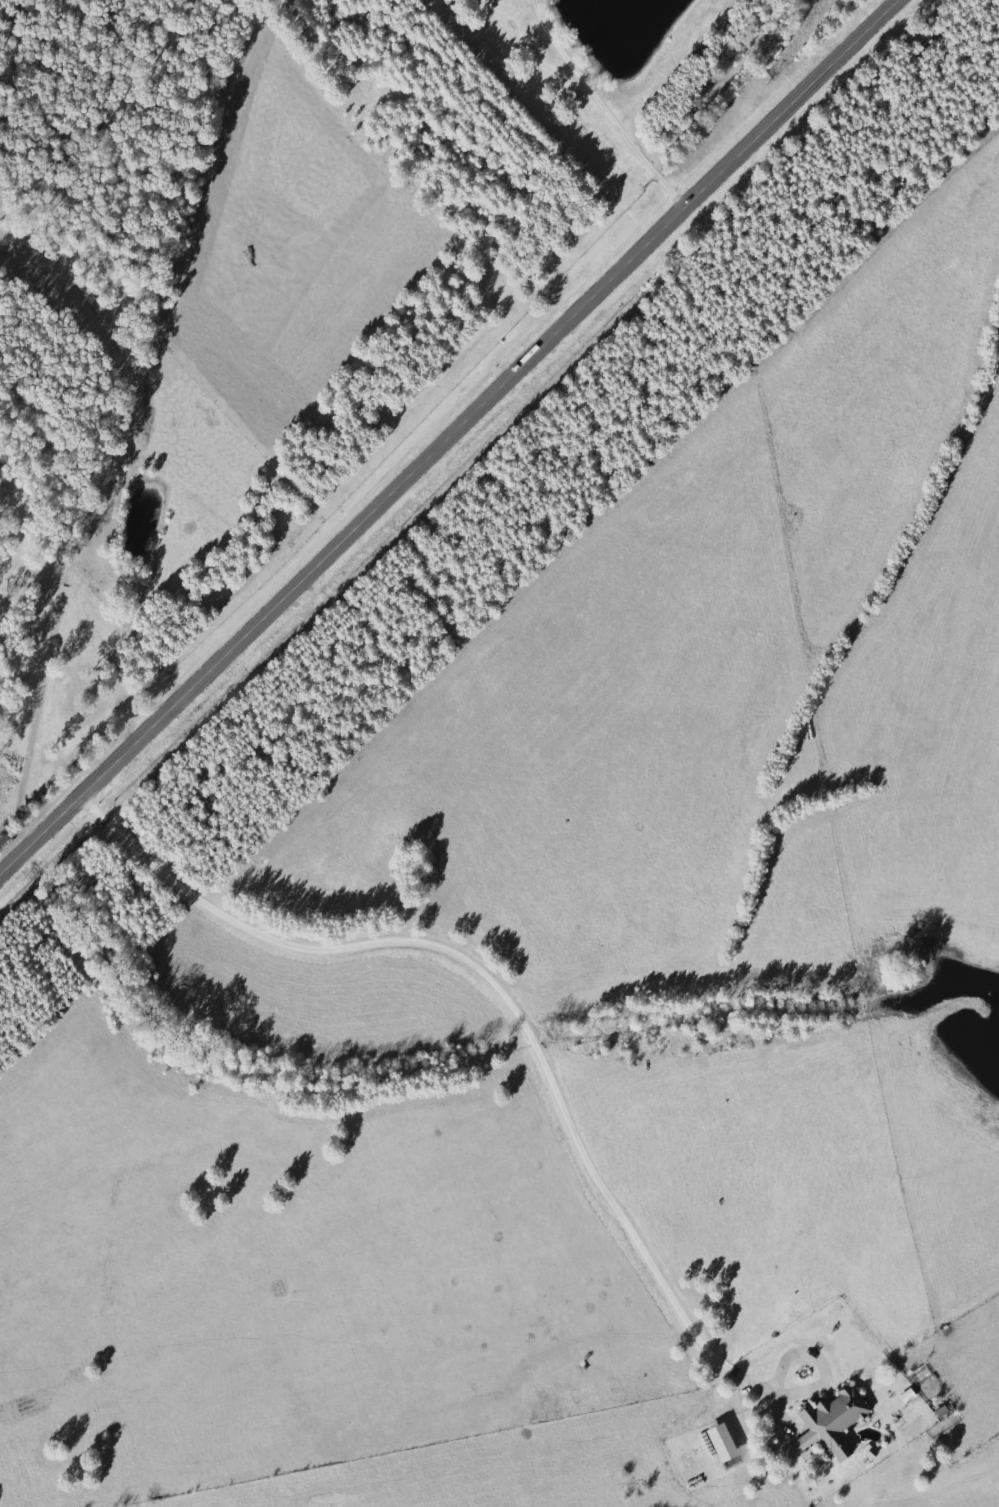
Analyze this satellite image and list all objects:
road: (448, 436)
road: (516, 1012)
building: (911, 1394)
building: (835, 1423)
building: (727, 1442)

